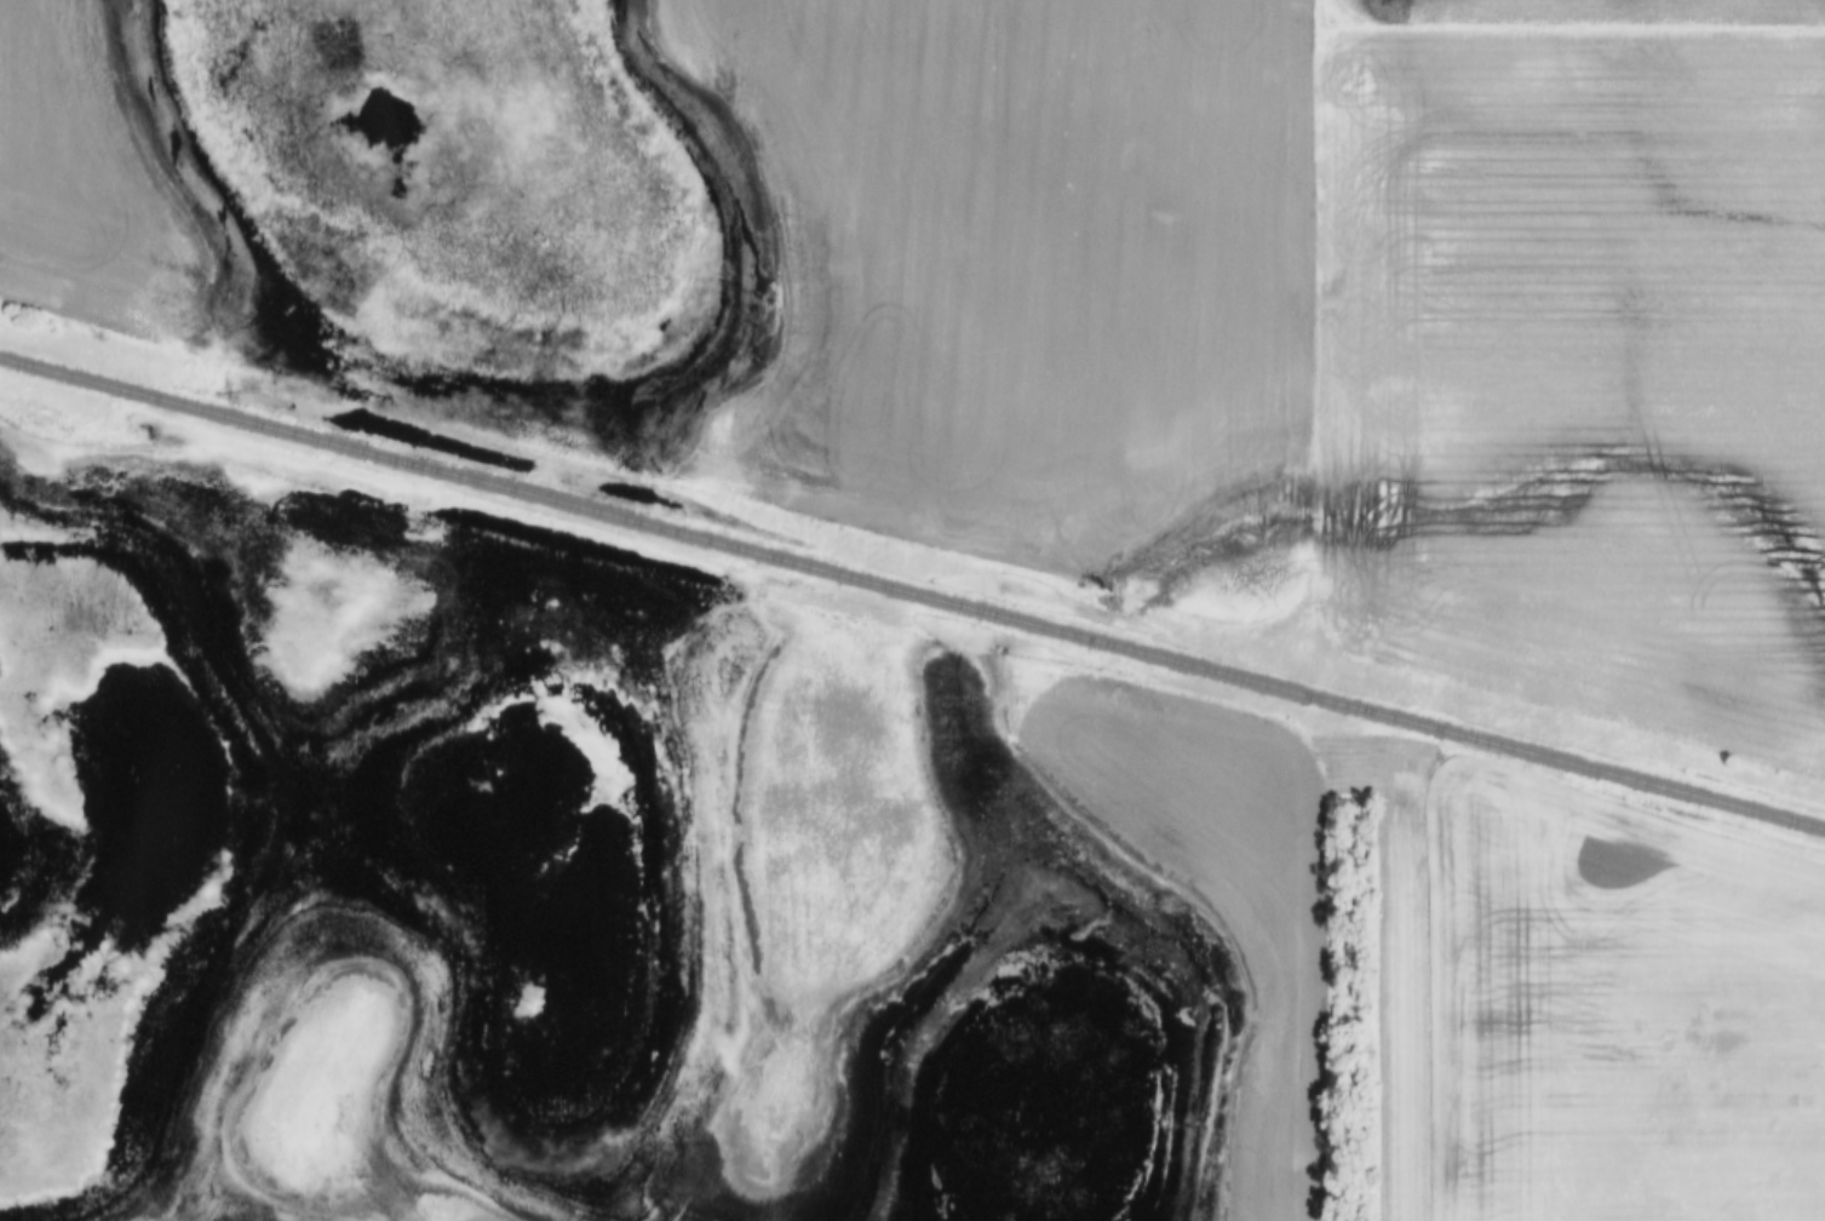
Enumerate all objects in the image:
railway: (912, 594)

